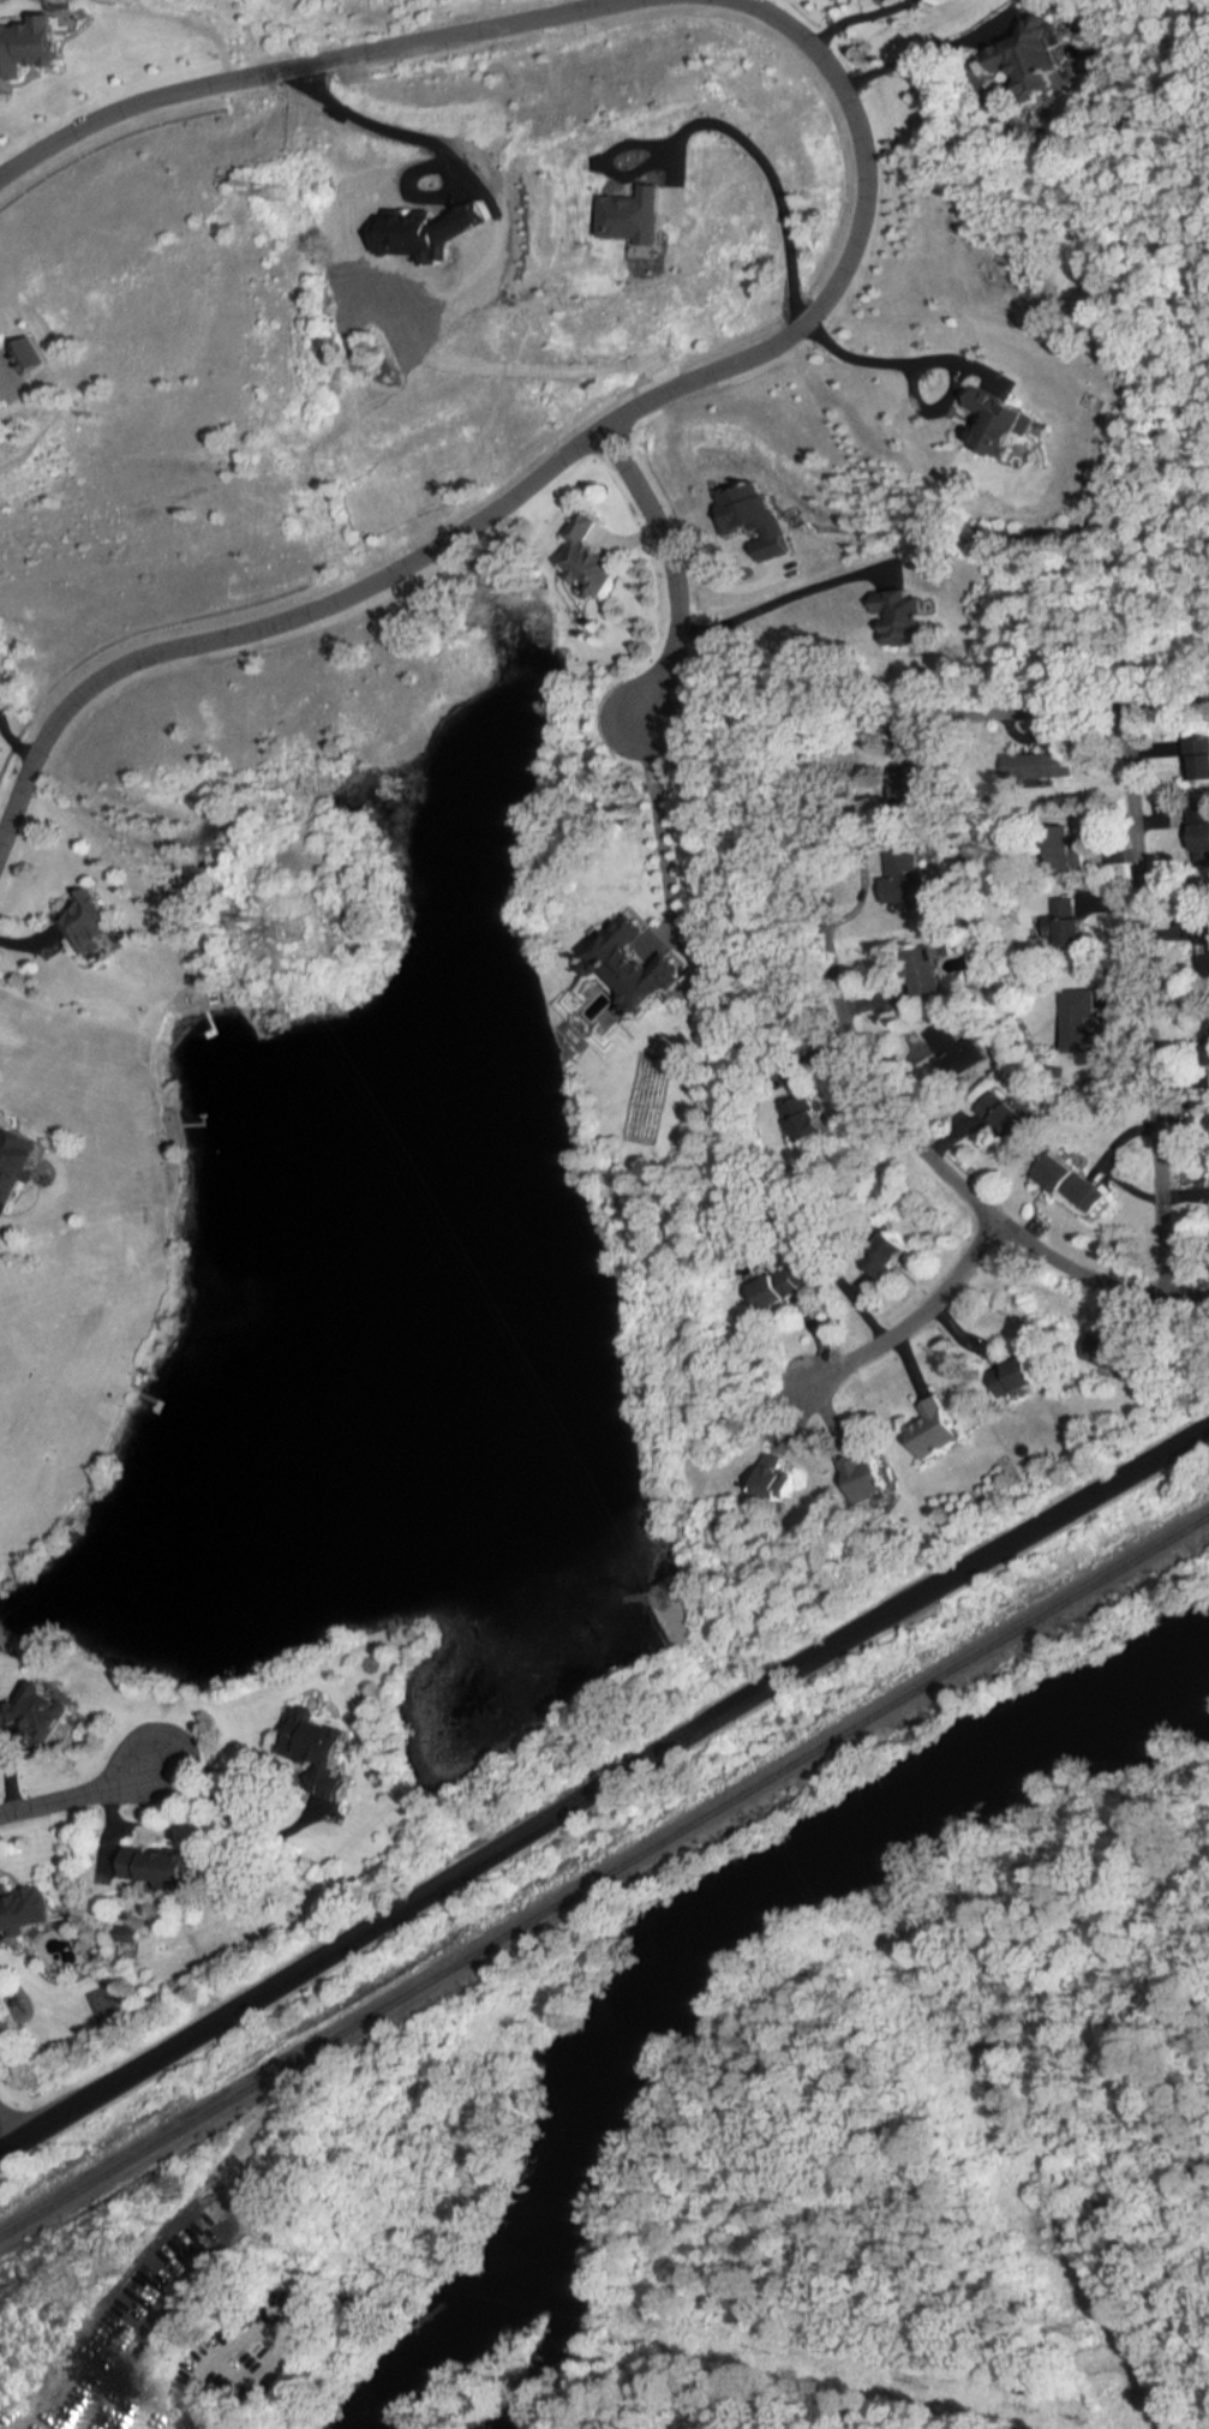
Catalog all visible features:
road: (851, 25)
building: (1029, 56)
road: (307, 64)
road: (906, 67)
road: (367, 127)
road: (761, 173)
power tower: (281, 195)
road: (8, 361)
road: (876, 361)
building: (0, 414)
road: (562, 456)
building: (585, 556)
road: (671, 567)
road: (780, 604)
building: (900, 615)
road: (1005, 702)
road: (11, 748)
building: (1196, 758)
building: (1048, 765)
building: (914, 783)
road: (666, 822)
building: (1199, 839)
building: (903, 881)
building: (1059, 923)
building: (79, 925)
power tower: (301, 932)
building: (641, 963)
building: (921, 970)
road: (1149, 997)
building: (1079, 1019)
building: (952, 1051)
road: (884, 1097)
building: (1006, 1117)
building: (804, 1119)
building: (16, 1163)
building: (1075, 1183)
building: (873, 1264)
building: (778, 1290)
road: (1190, 1294)
road: (921, 1316)
building: (1108, 1351)
building: (1021, 1377)
building: (936, 1429)
building: (866, 1474)
building: (773, 1476)
power tower: (664, 1598)
park: (1059, 1661)
building: (38, 1712)
building: (329, 1760)
road: (604, 1789)
road: (73, 1796)
road: (229, 1815)
building: (160, 1867)
railway: (605, 1878)
building: (24, 1910)
river: (695, 1949)
road: (8, 2131)
power tower: (1079, 2329)

